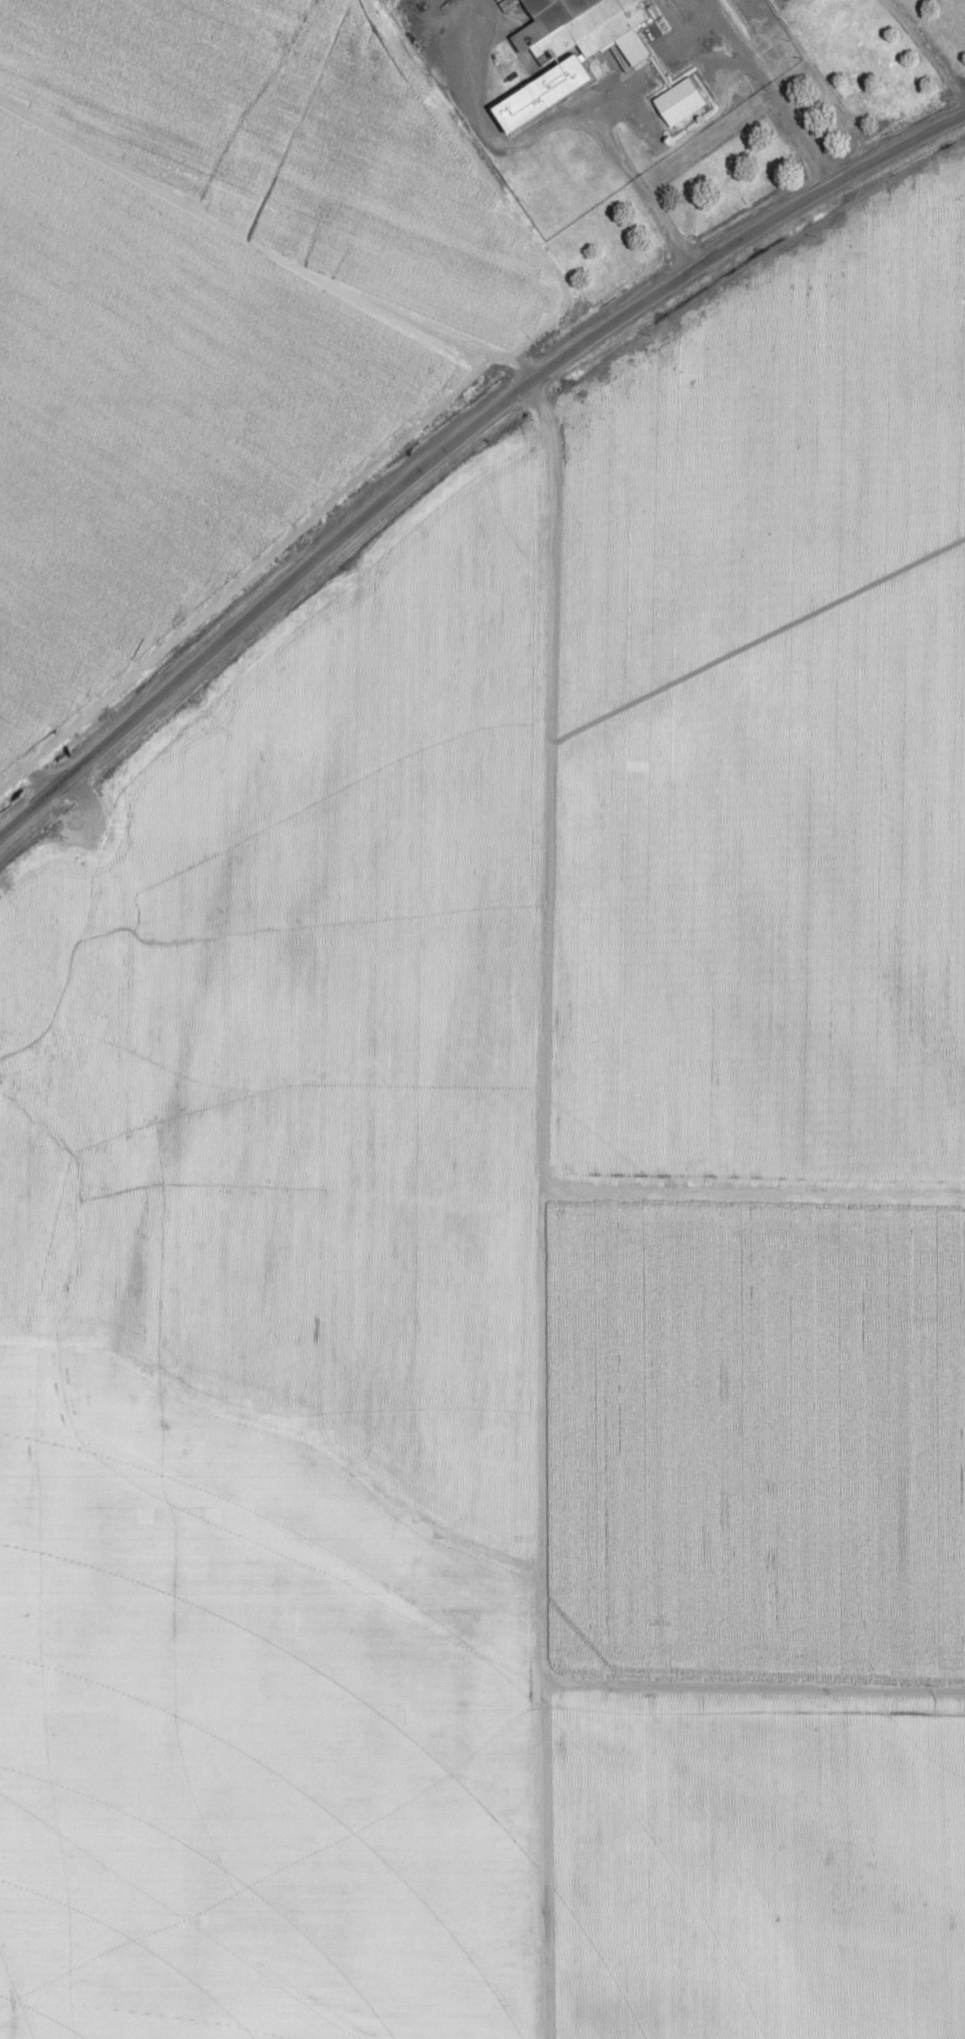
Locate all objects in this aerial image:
building: (561, 50)
road: (924, 52)
road: (652, 63)
building: (677, 101)
road: (456, 436)
building: (104, 570)
road: (541, 1207)
road: (204, 1494)

